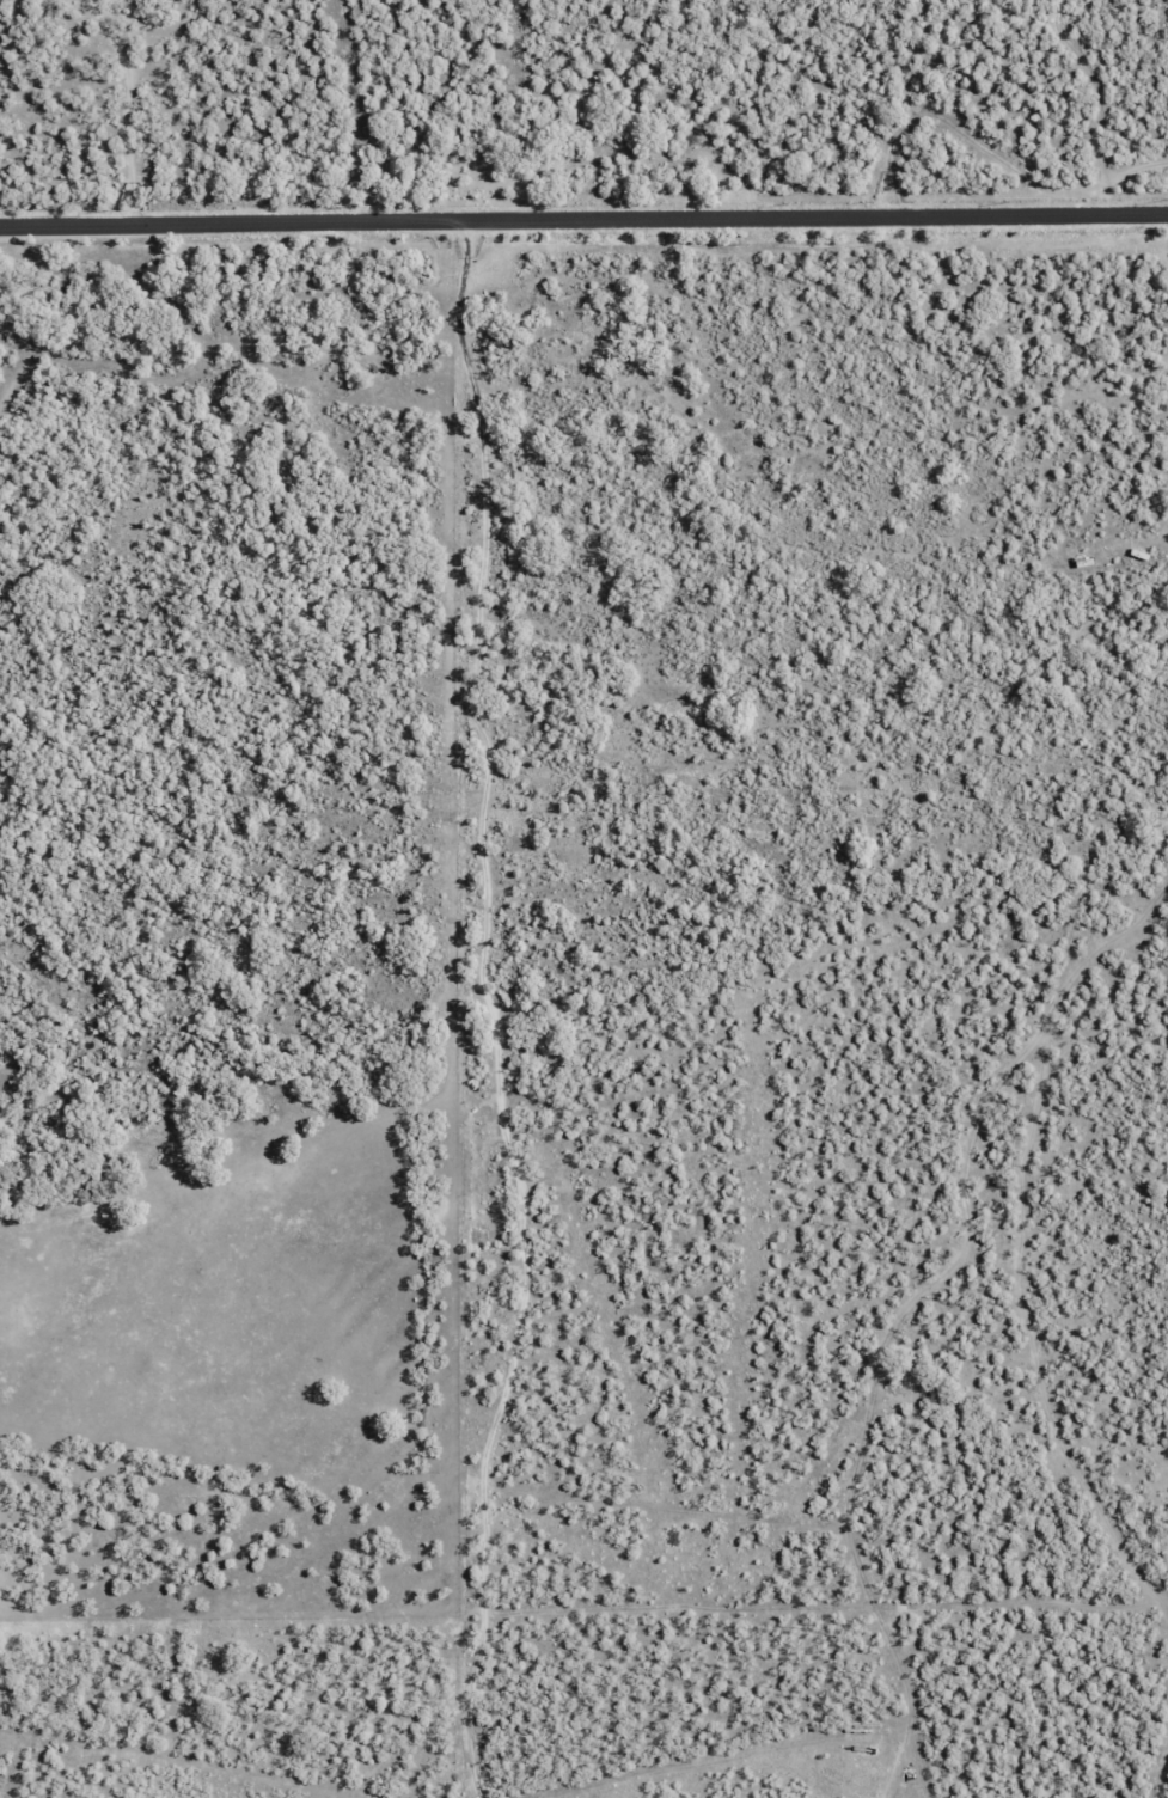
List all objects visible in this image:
road: (583, 221)
road: (490, 1011)

